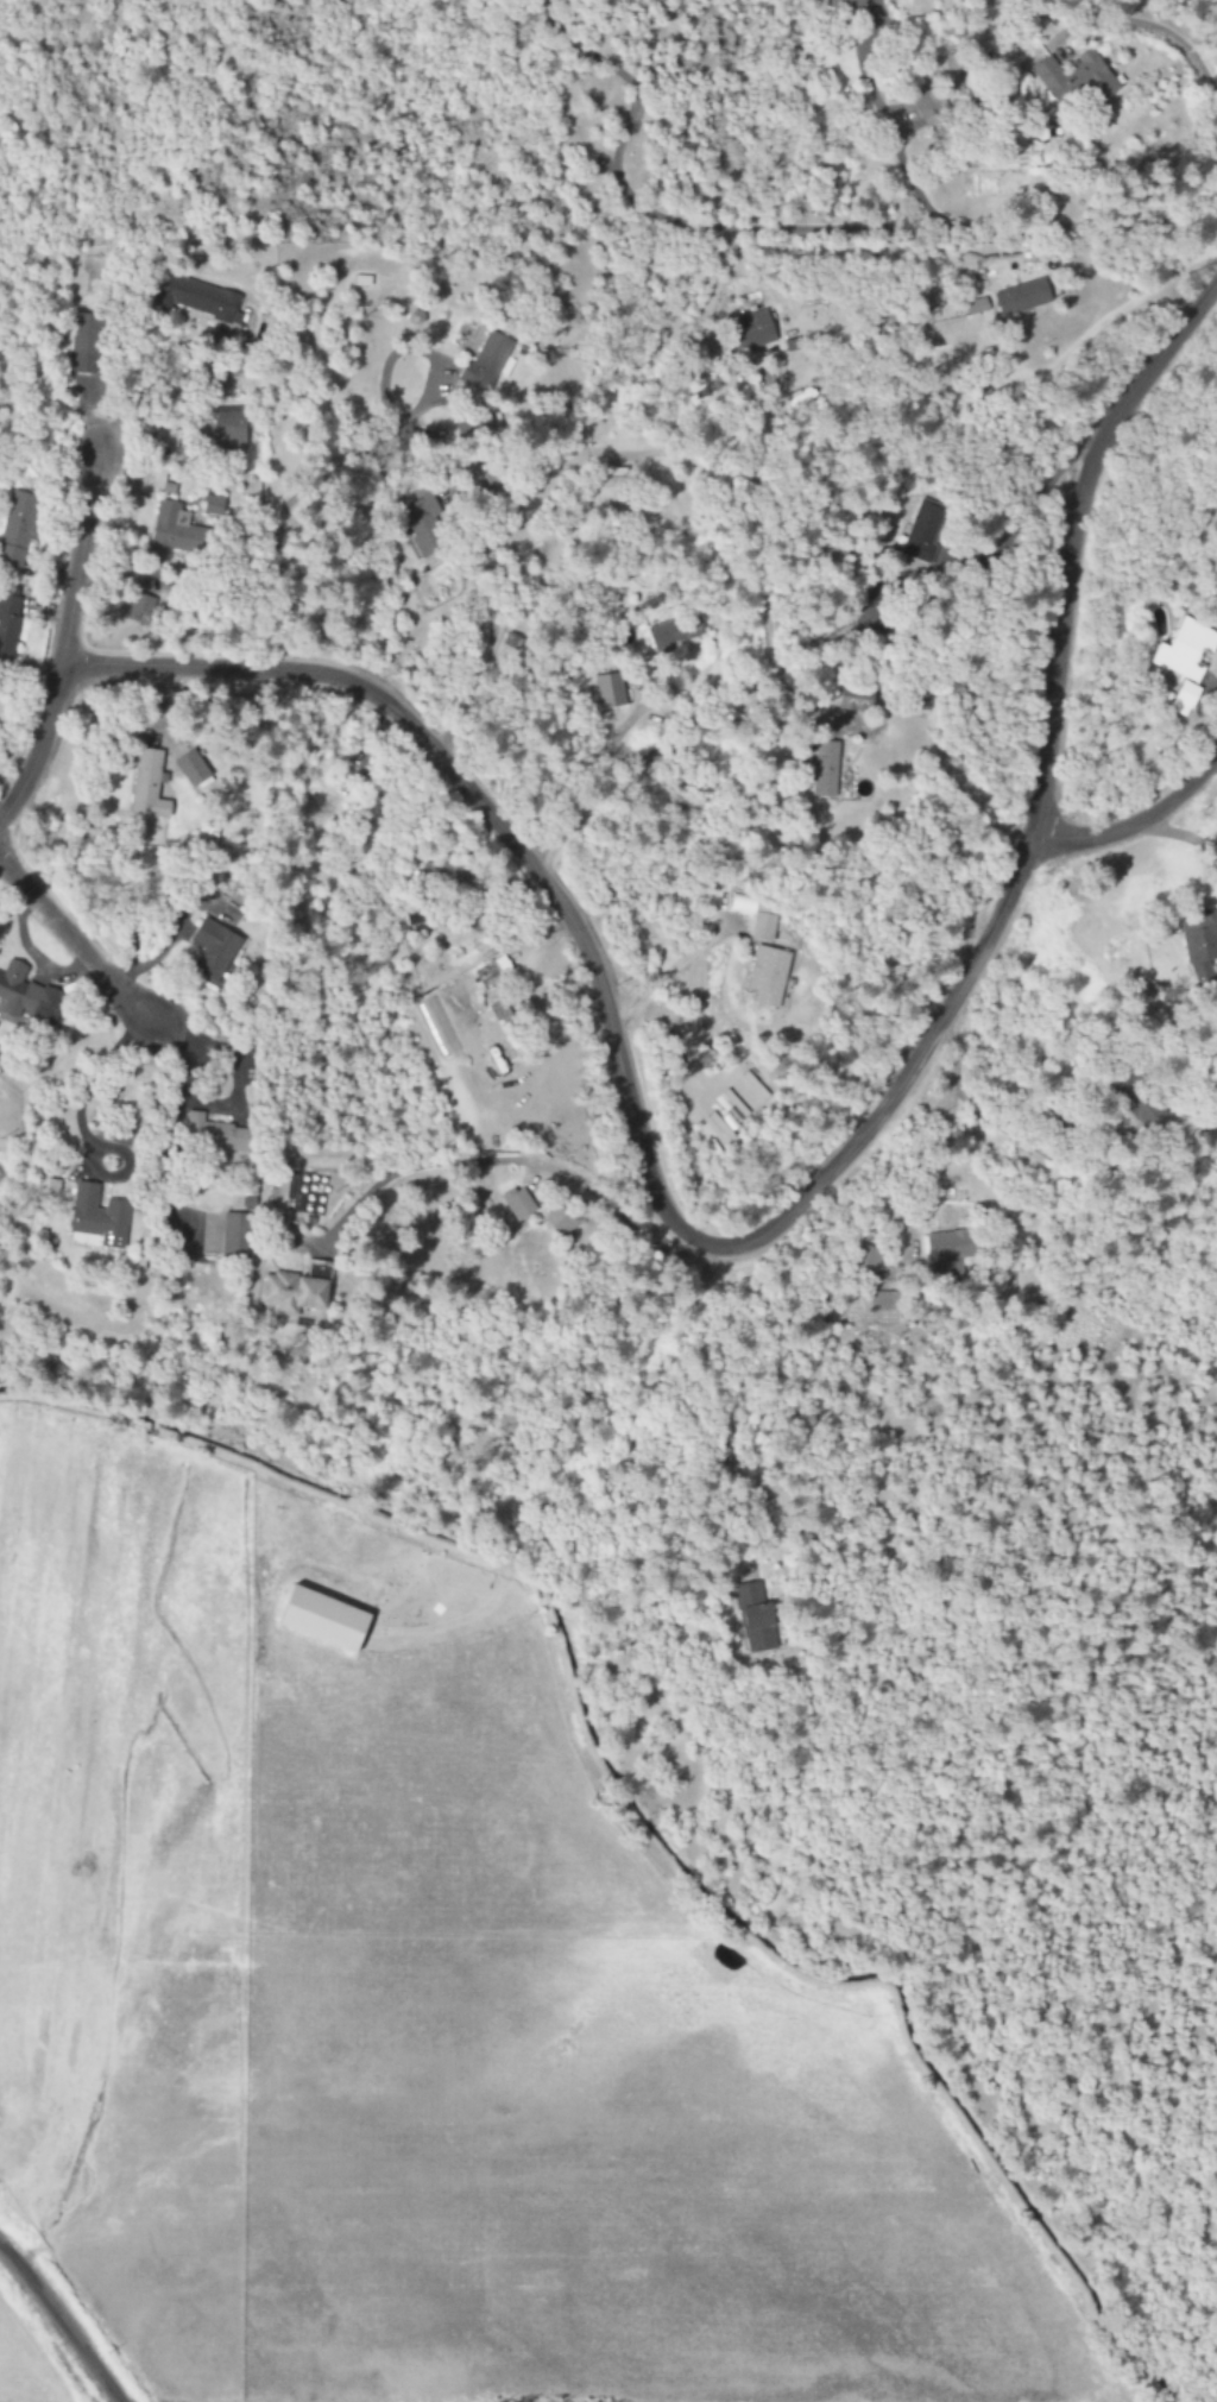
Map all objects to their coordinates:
building: (846, 5)
road: (1149, 26)
building: (1074, 77)
building: (928, 106)
road: (797, 229)
building: (1021, 297)
building: (195, 300)
building: (752, 330)
building: (82, 343)
building: (484, 364)
building: (228, 430)
building: (610, 483)
road: (1021, 517)
building: (422, 524)
building: (166, 528)
building: (17, 529)
building: (922, 531)
building: (138, 607)
building: (673, 632)
road: (67, 636)
building: (1184, 650)
building: (608, 691)
building: (855, 698)
building: (1183, 699)
building: (190, 768)
building: (825, 769)
building: (146, 786)
road: (1038, 805)
road: (1137, 821)
road: (494, 822)
building: (449, 871)
building: (755, 919)
road: (75, 940)
building: (1200, 942)
building: (213, 950)
building: (768, 976)
building: (26, 995)
building: (748, 1095)
building: (1131, 1098)
building: (213, 1134)
building: (517, 1204)
building: (97, 1217)
building: (559, 1222)
building: (235, 1236)
building: (947, 1252)
building: (864, 1261)
building: (297, 1293)
building: (882, 1301)
building: (322, 1620)
building: (756, 1620)
crop: (420, 2006)
road: (61, 2322)

